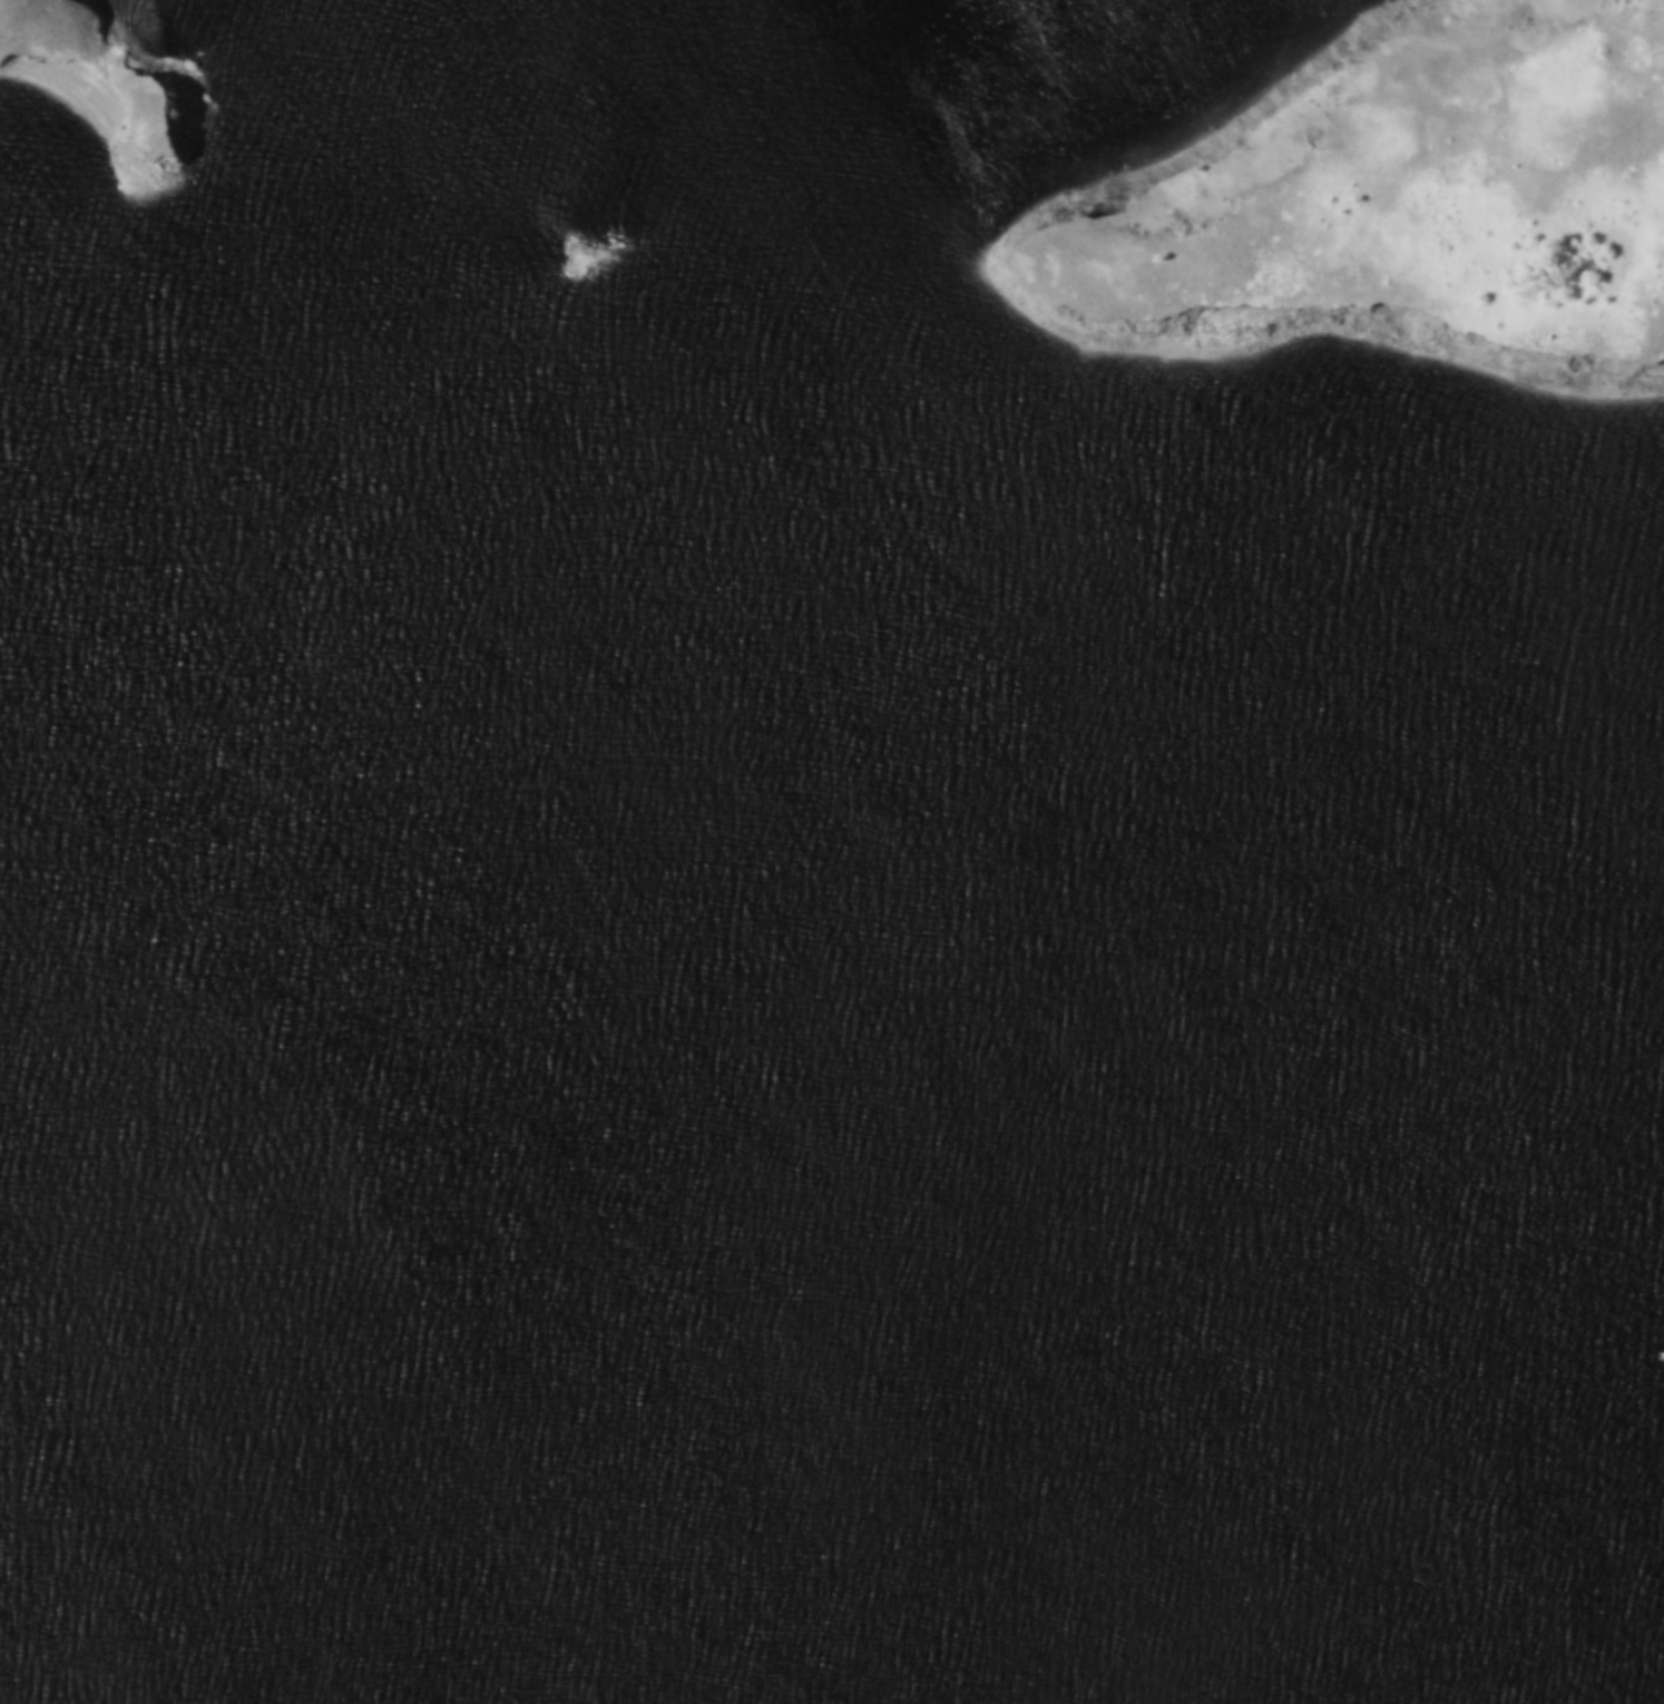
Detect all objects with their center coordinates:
river: (832, 1447)

